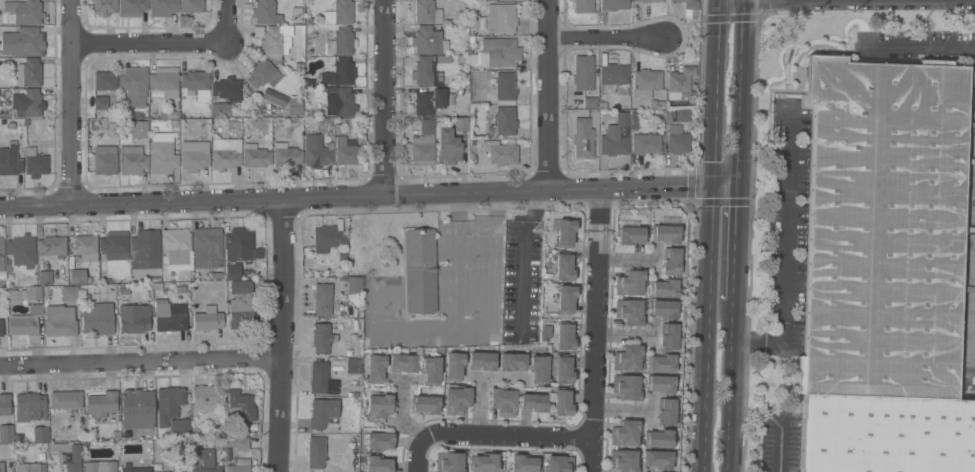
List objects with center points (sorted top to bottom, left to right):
building: (648, 1)
building: (687, 4)
building: (614, 5)
building: (191, 6)
building: (586, 6)
building: (104, 7)
building: (131, 8)
building: (162, 8)
building: (23, 12)
building: (426, 12)
building: (265, 13)
building: (339, 13)
building: (500, 19)
road: (160, 34)
road: (611, 35)
building: (427, 40)
building: (23, 42)
building: (276, 42)
building: (341, 42)
road: (916, 47)
building: (500, 52)
building: (339, 72)
building: (426, 72)
building: (29, 73)
building: (263, 75)
building: (584, 76)
building: (612, 77)
building: (194, 81)
building: (105, 82)
building: (163, 83)
building: (645, 83)
building: (679, 84)
building: (134, 86)
building: (500, 86)
building: (227, 89)
road: (739, 94)
road: (713, 95)
road: (553, 96)
road: (386, 99)
building: (338, 101)
building: (428, 102)
road: (69, 103)
building: (100, 103)
building: (589, 103)
building: (29, 104)
building: (295, 107)
building: (220, 109)
building: (169, 115)
building: (682, 116)
building: (502, 122)
building: (460, 124)
building: (138, 129)
building: (615, 137)
building: (582, 138)
building: (677, 141)
building: (645, 144)
building: (423, 145)
building: (448, 147)
building: (316, 151)
building: (345, 151)
building: (499, 152)
building: (162, 154)
building: (225, 154)
building: (285, 155)
building: (194, 156)
building: (255, 156)
building: (104, 160)
building: (132, 160)
building: (9, 163)
building: (34, 163)
road: (724, 190)
road: (356, 198)
building: (564, 234)
building: (664, 234)
building: (631, 235)
building: (328, 237)
building: (238, 244)
building: (52, 246)
building: (114, 246)
building: (176, 246)
road: (734, 246)
building: (207, 247)
building: (85, 248)
building: (145, 250)
building: (21, 251)
road: (784, 251)
building: (1, 255)
building: (670, 262)
building: (563, 267)
building: (232, 271)
building: (419, 271)
building: (884, 271)
building: (77, 277)
building: (44, 278)
building: (629, 283)
building: (354, 286)
building: (663, 289)
building: (31, 293)
building: (68, 293)
building: (14, 296)
building: (322, 299)
building: (565, 299)
building: (239, 304)
building: (34, 309)
building: (662, 309)
building: (628, 312)
building: (169, 316)
building: (97, 318)
building: (133, 319)
building: (207, 319)
building: (59, 321)
building: (23, 325)
building: (1, 328)
road: (707, 331)
road: (596, 332)
road: (282, 335)
building: (353, 336)
building: (564, 336)
building: (669, 337)
building: (321, 338)
building: (627, 358)
building: (481, 361)
building: (511, 362)
building: (402, 363)
building: (660, 363)
road: (140, 365)
building: (352, 366)
building: (453, 366)
building: (375, 369)
building: (538, 369)
building: (562, 369)
building: (431, 371)
building: (321, 379)
building: (659, 384)
road: (729, 386)
building: (626, 387)
building: (207, 396)
building: (64, 400)
building: (456, 400)
building: (502, 401)
building: (561, 402)
building: (532, 403)
building: (4, 404)
building: (101, 404)
building: (168, 404)
building: (424, 405)
building: (29, 407)
building: (240, 407)
building: (377, 408)
building: (137, 409)
building: (665, 412)
building: (322, 413)
building: (179, 428)
building: (241, 429)
building: (6, 433)
building: (624, 433)
building: (40, 434)
road: (491, 435)
building: (658, 438)
building: (378, 441)
road: (781, 441)
building: (236, 443)
building: (315, 452)
building: (67, 455)
building: (226, 455)
building: (206, 456)
building: (657, 459)
building: (623, 461)
building: (449, 462)
building: (483, 463)
building: (378, 464)
building: (523, 464)
building: (558, 464)
building: (99, 466)
building: (238, 466)
building: (1, 467)
building: (29, 467)
building: (133, 469)

